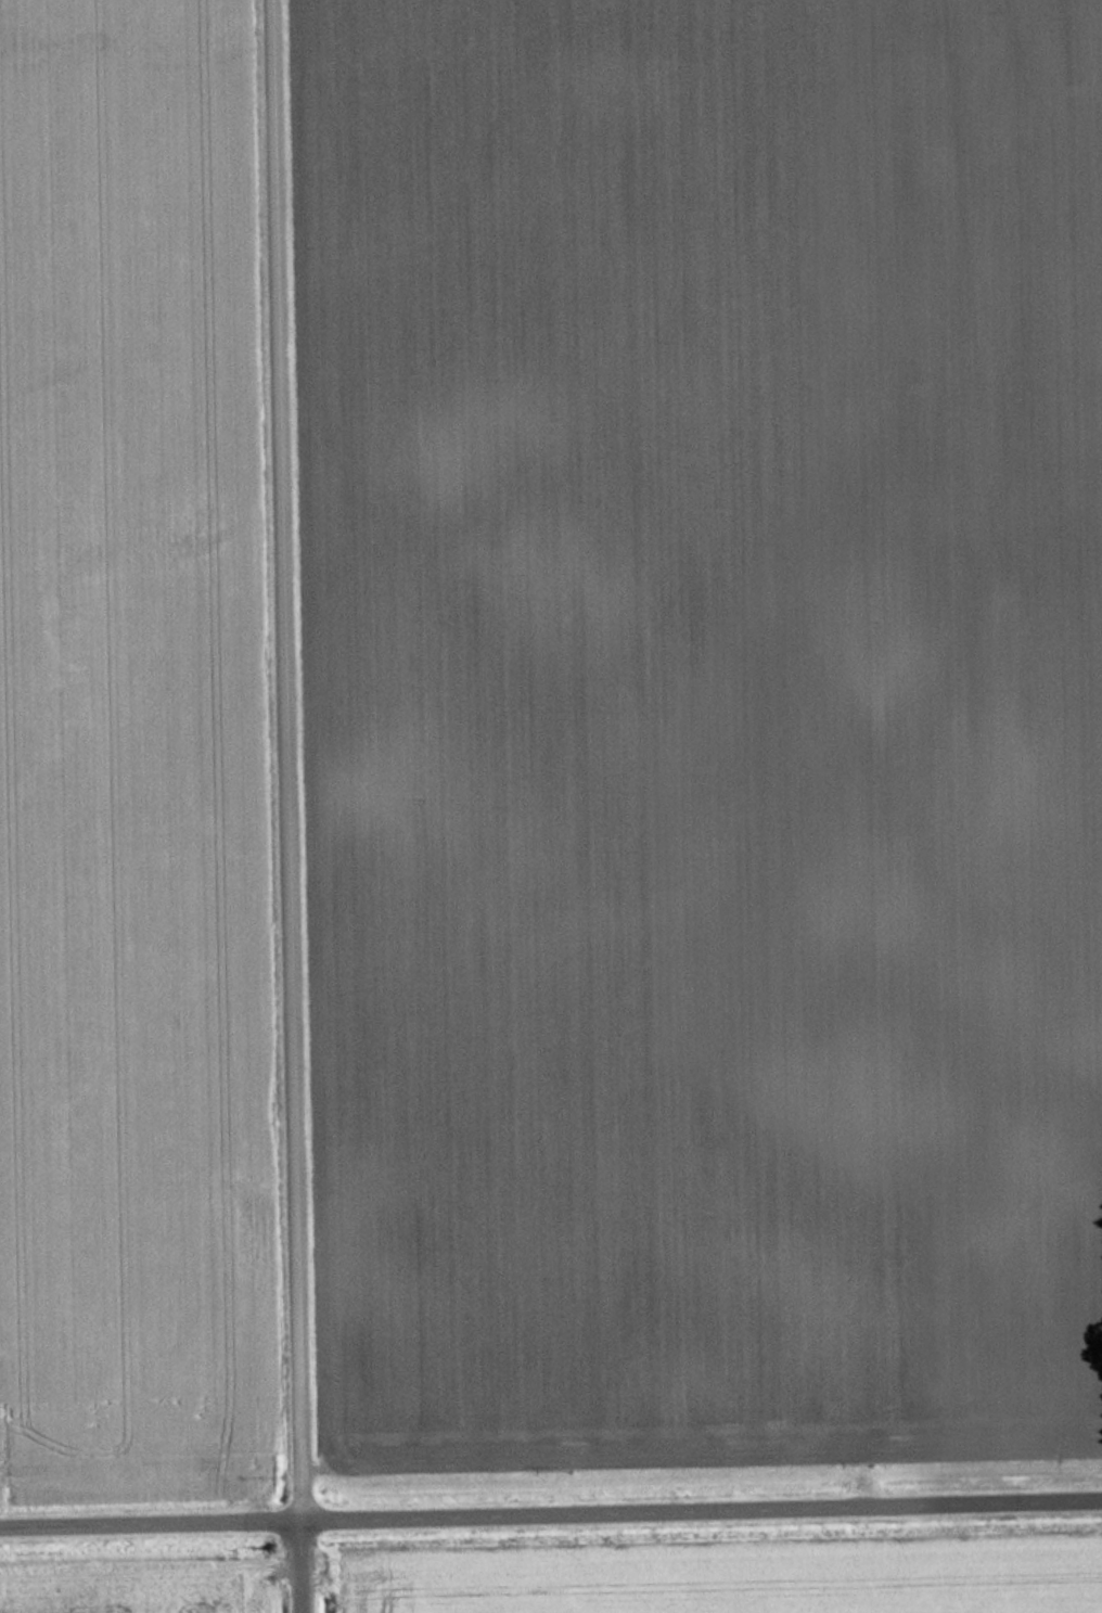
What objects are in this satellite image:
road: (293, 806)
road: (550, 1510)

